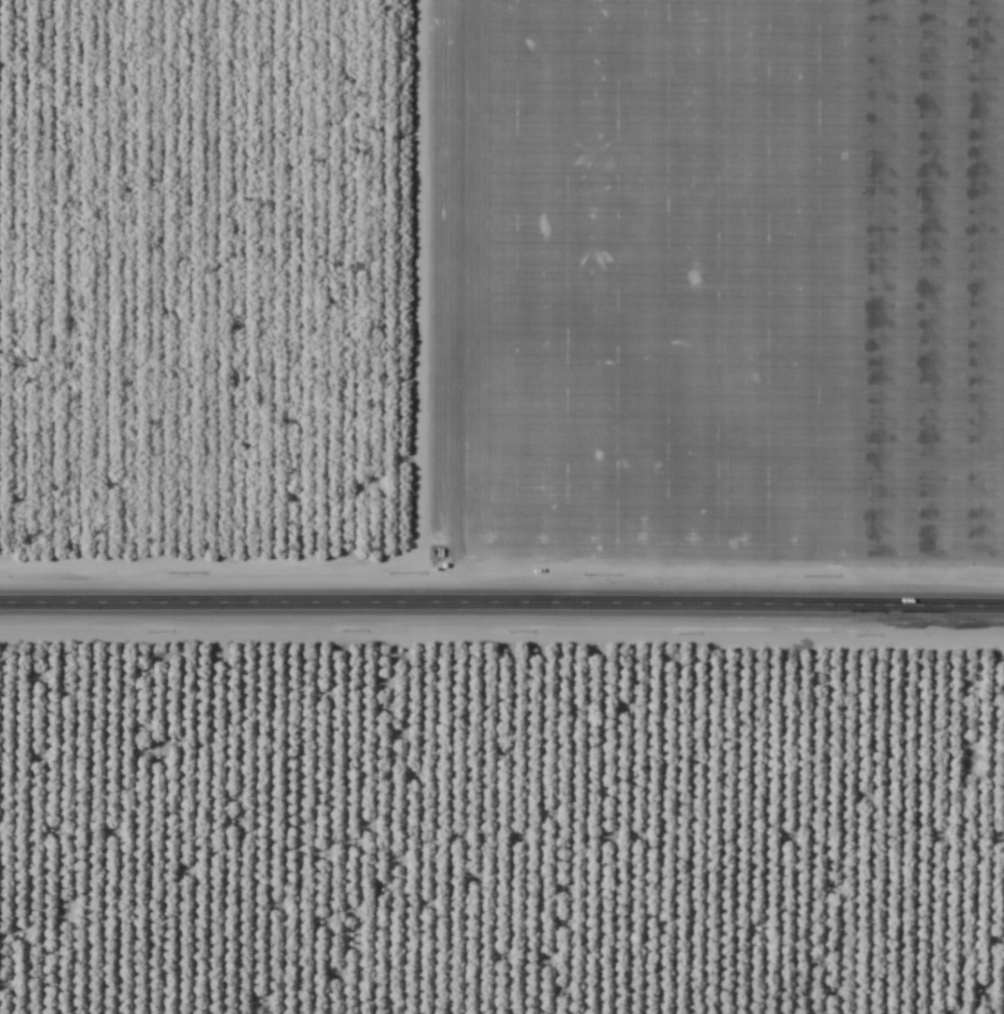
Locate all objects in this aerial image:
road: (407, 301)
road: (502, 603)
crop: (502, 822)

